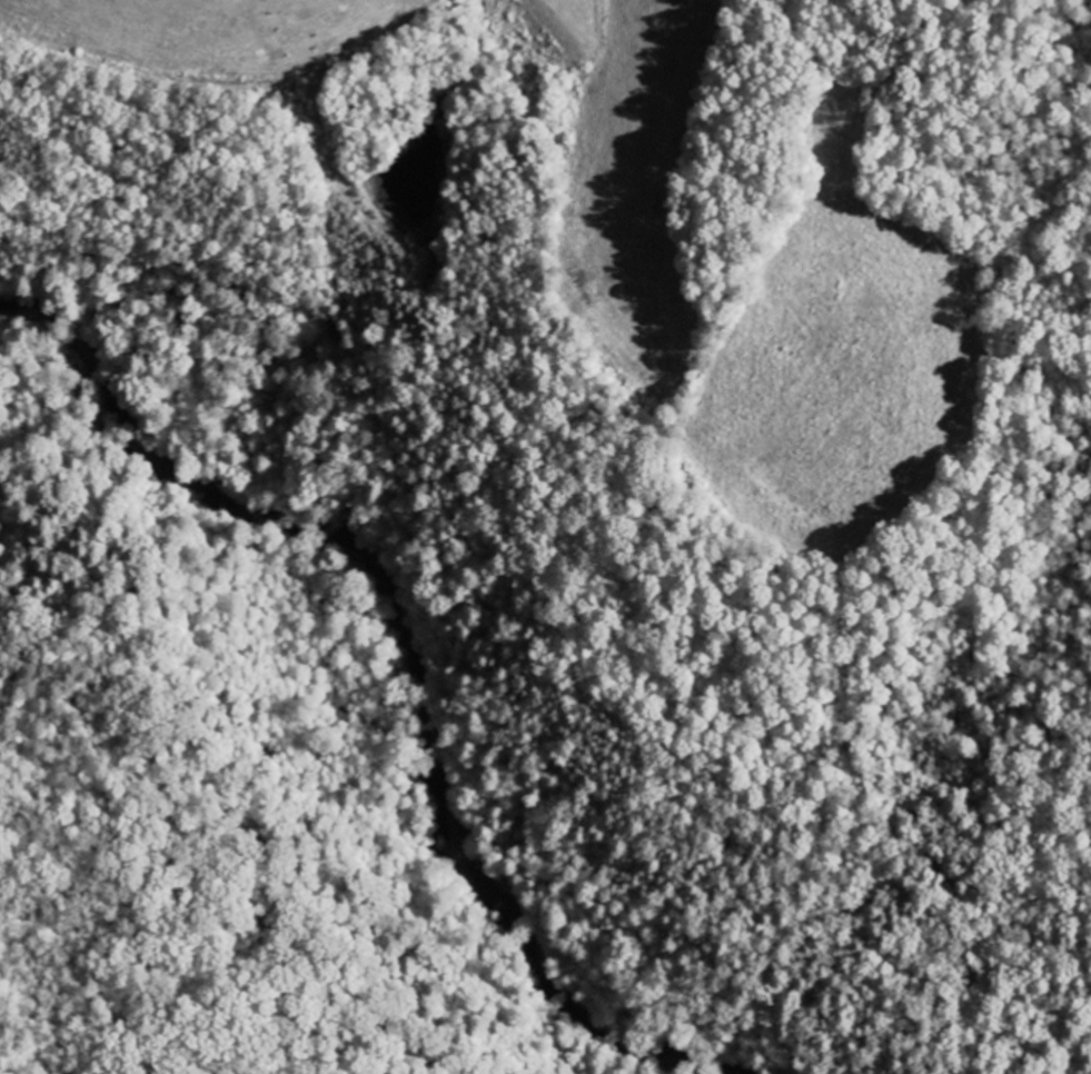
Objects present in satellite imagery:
park: (1031, 1041)

